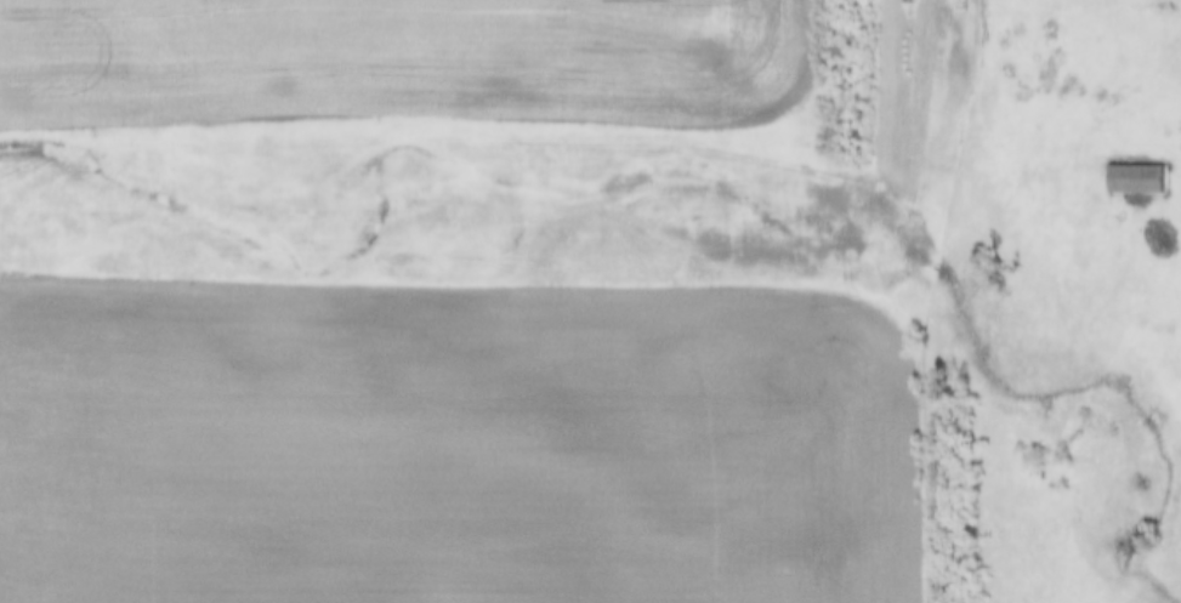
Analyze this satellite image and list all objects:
building: (1131, 177)

